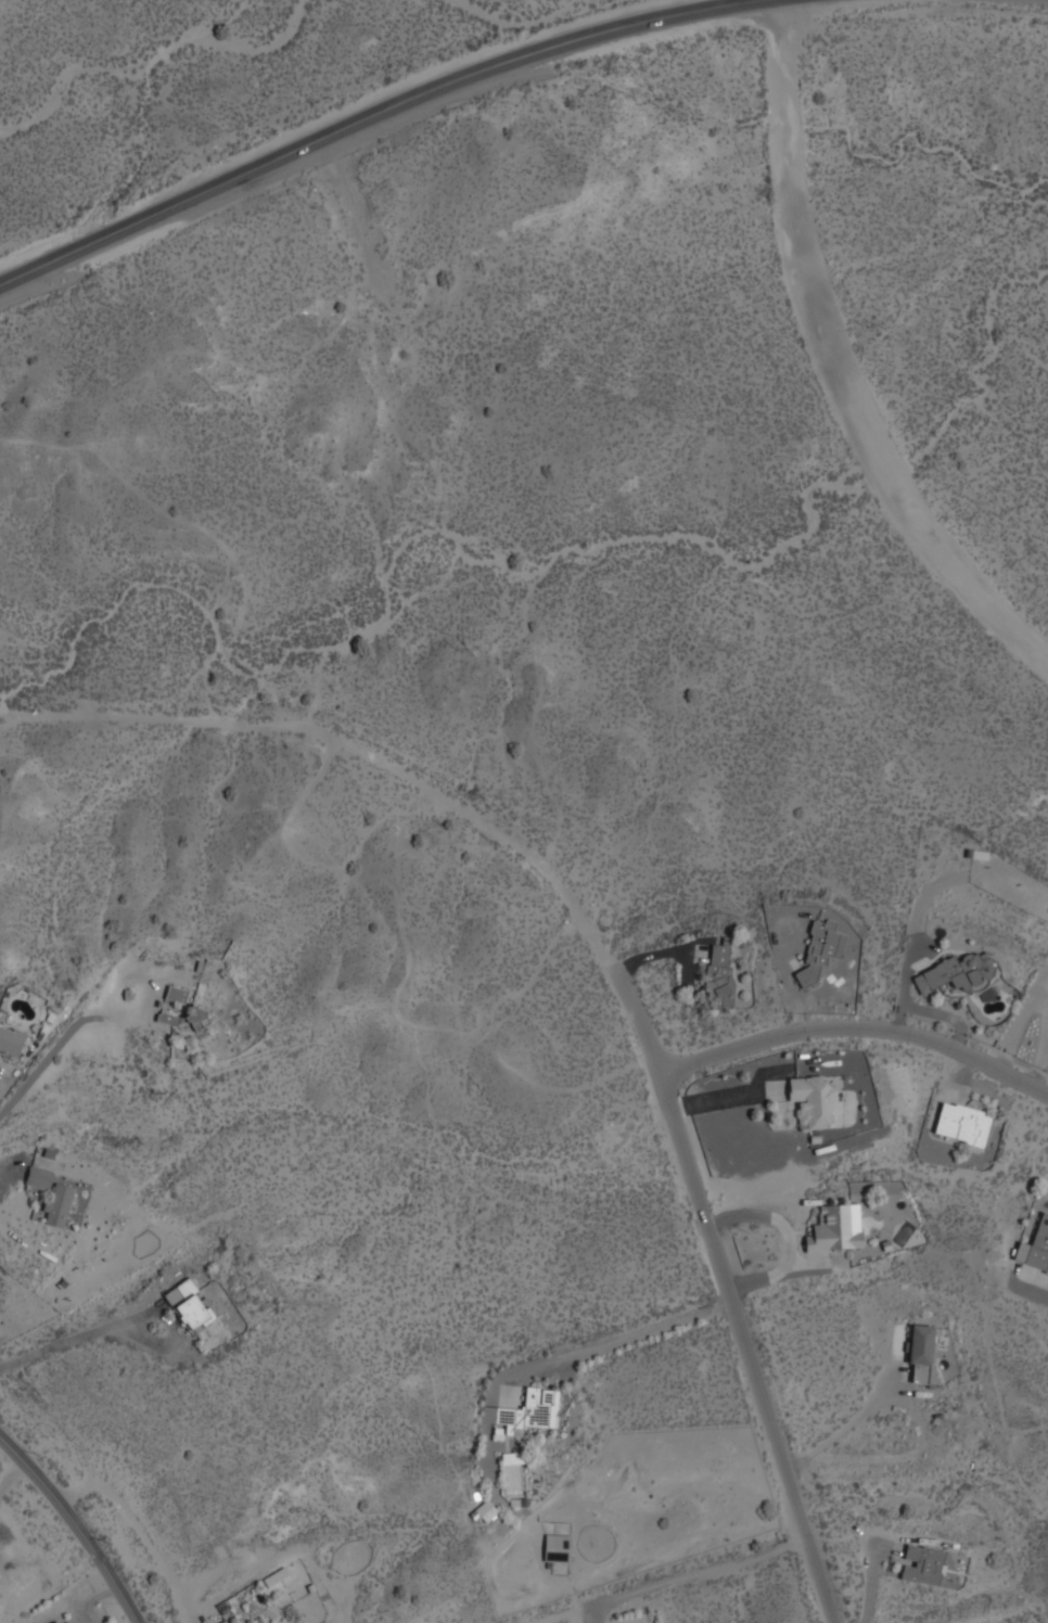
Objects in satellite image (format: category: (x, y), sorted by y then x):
road: (365, 119)
road: (839, 362)
road: (304, 724)
building: (821, 948)
building: (717, 969)
building: (959, 971)
building: (177, 993)
building: (187, 1018)
road: (858, 1030)
building: (11, 1040)
road: (44, 1062)
building: (815, 1101)
building: (964, 1123)
building: (39, 1176)
building: (59, 1202)
building: (838, 1227)
road: (714, 1245)
building: (1036, 1245)
building: (190, 1304)
road: (77, 1337)
building: (922, 1352)
road: (567, 1358)
building: (531, 1410)
road: (844, 1429)
building: (515, 1472)
building: (486, 1510)
road: (74, 1526)
building: (558, 1547)
building: (924, 1563)
building: (277, 1575)
building: (1, 1607)
building: (274, 1613)
building: (56, 1621)
building: (226, 1622)

